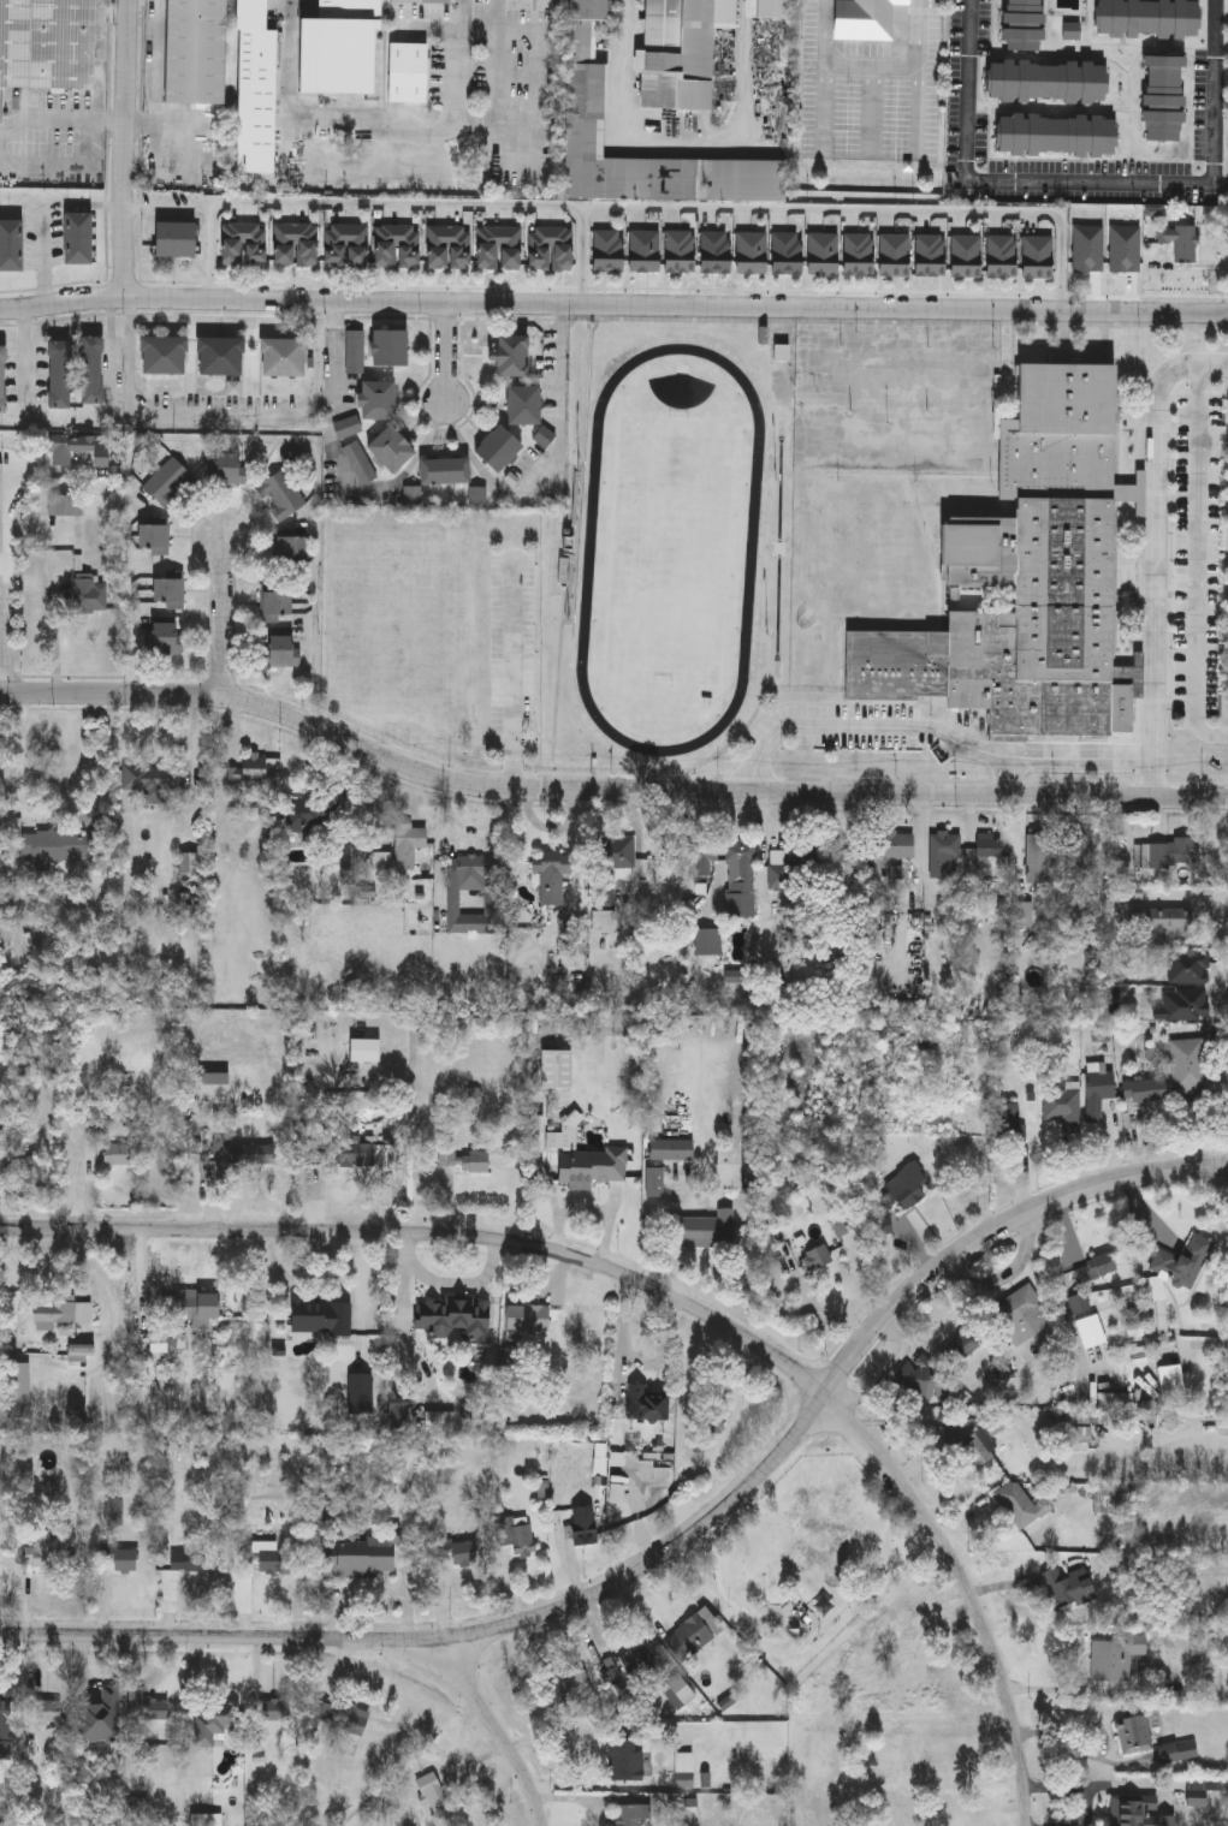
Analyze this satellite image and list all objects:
building: (422, 1)
building: (767, 7)
building: (864, 18)
building: (1147, 18)
building: (1024, 24)
road: (523, 31)
building: (47, 42)
building: (339, 46)
building: (196, 50)
road: (497, 50)
building: (681, 50)
road: (100, 59)
road: (874, 69)
road: (156, 71)
building: (410, 72)
road: (521, 77)
building: (1046, 81)
building: (256, 87)
road: (1215, 91)
building: (1164, 96)
road: (829, 102)
road: (918, 106)
building: (585, 107)
road: (381, 117)
road: (64, 118)
road: (625, 130)
building: (1057, 133)
road: (130, 149)
road: (534, 180)
road: (1010, 180)
road: (440, 203)
road: (868, 210)
road: (210, 215)
building: (79, 237)
building: (174, 238)
building: (231, 242)
building: (1179, 242)
building: (291, 243)
building: (350, 243)
building: (11, 244)
building: (698, 254)
building: (740, 254)
building: (785, 255)
road: (613, 303)
building: (391, 346)
building: (356, 350)
building: (164, 355)
building: (221, 355)
road: (447, 355)
building: (514, 355)
building: (285, 356)
building: (860, 362)
building: (898, 363)
building: (938, 363)
building: (975, 364)
building: (91, 369)
building: (59, 374)
building: (2, 379)
building: (823, 392)
building: (860, 392)
building: (898, 393)
building: (937, 394)
building: (974, 395)
building: (379, 399)
road: (563, 402)
building: (524, 404)
road: (236, 415)
building: (349, 426)
building: (821, 426)
building: (859, 426)
building: (936, 428)
building: (973, 429)
building: (546, 436)
building: (67, 446)
building: (391, 448)
building: (499, 448)
building: (821, 457)
building: (936, 458)
building: (858, 459)
building: (897, 460)
building: (973, 460)
building: (361, 462)
building: (231, 468)
building: (446, 470)
building: (171, 481)
building: (819, 488)
building: (858, 489)
building: (896, 492)
building: (935, 492)
building: (972, 492)
building: (284, 493)
building: (65, 501)
road: (1156, 533)
building: (155, 537)
road: (2, 542)
building: (292, 547)
park: (670, 549)
building: (69, 559)
road: (1197, 561)
building: (1027, 578)
road: (6, 587)
building: (171, 593)
building: (91, 594)
building: (278, 600)
road: (226, 615)
road: (315, 621)
building: (164, 637)
building: (285, 650)
road: (524, 674)
road: (862, 725)
road: (26, 756)
road: (1084, 756)
building: (250, 767)
road: (1014, 777)
road: (1155, 777)
building: (153, 779)
road: (605, 790)
building: (307, 814)
building: (408, 844)
building: (892, 844)
building: (989, 844)
building: (60, 845)
building: (943, 849)
building: (813, 852)
building: (1165, 853)
building: (1075, 856)
building: (704, 857)
building: (1039, 857)
building: (611, 867)
building: (778, 869)
building: (476, 872)
building: (550, 875)
building: (741, 880)
building: (603, 921)
building: (1169, 921)
building: (707, 942)
building: (1187, 965)
building: (1183, 1005)
building: (363, 1051)
building: (1188, 1067)
building: (213, 1087)
building: (1144, 1090)
building: (1097, 1094)
building: (1063, 1108)
building: (1008, 1123)
building: (536, 1137)
building: (10, 1147)
building: (677, 1148)
building: (245, 1152)
building: (117, 1154)
building: (467, 1161)
building: (591, 1166)
building: (210, 1170)
building: (654, 1182)
building: (906, 1185)
building: (707, 1230)
road: (434, 1233)
building: (815, 1257)
building: (1181, 1263)
building: (1094, 1268)
building: (1081, 1301)
building: (196, 1304)
building: (60, 1310)
building: (1019, 1314)
building: (320, 1316)
building: (453, 1318)
building: (526, 1320)
building: (1090, 1331)
road: (623, 1336)
building: (960, 1344)
building: (77, 1349)
road: (668, 1349)
building: (924, 1378)
building: (16, 1388)
building: (360, 1393)
building: (645, 1403)
building: (714, 1410)
building: (396, 1418)
building: (974, 1445)
building: (0, 1449)
building: (1020, 1505)
building: (581, 1523)
building: (516, 1535)
road: (674, 1546)
building: (465, 1553)
building: (42, 1554)
building: (357, 1554)
building: (266, 1558)
park: (803, 1559)
building: (123, 1560)
building: (186, 1560)
building: (1067, 1588)
road: (973, 1592)
building: (692, 1634)
building: (1115, 1657)
building: (637, 1660)
building: (610, 1672)
building: (570, 1688)
building: (681, 1689)
building: (146, 1706)
building: (43, 1711)
building: (275, 1713)
building: (340, 1715)
building: (100, 1718)
building: (216, 1719)
building: (5, 1727)
road: (498, 1727)
building: (1133, 1733)
building: (937, 1751)
building: (625, 1760)
building: (684, 1770)
building: (439, 1798)
building: (1137, 1812)
building: (631, 1813)
building: (949, 1824)

